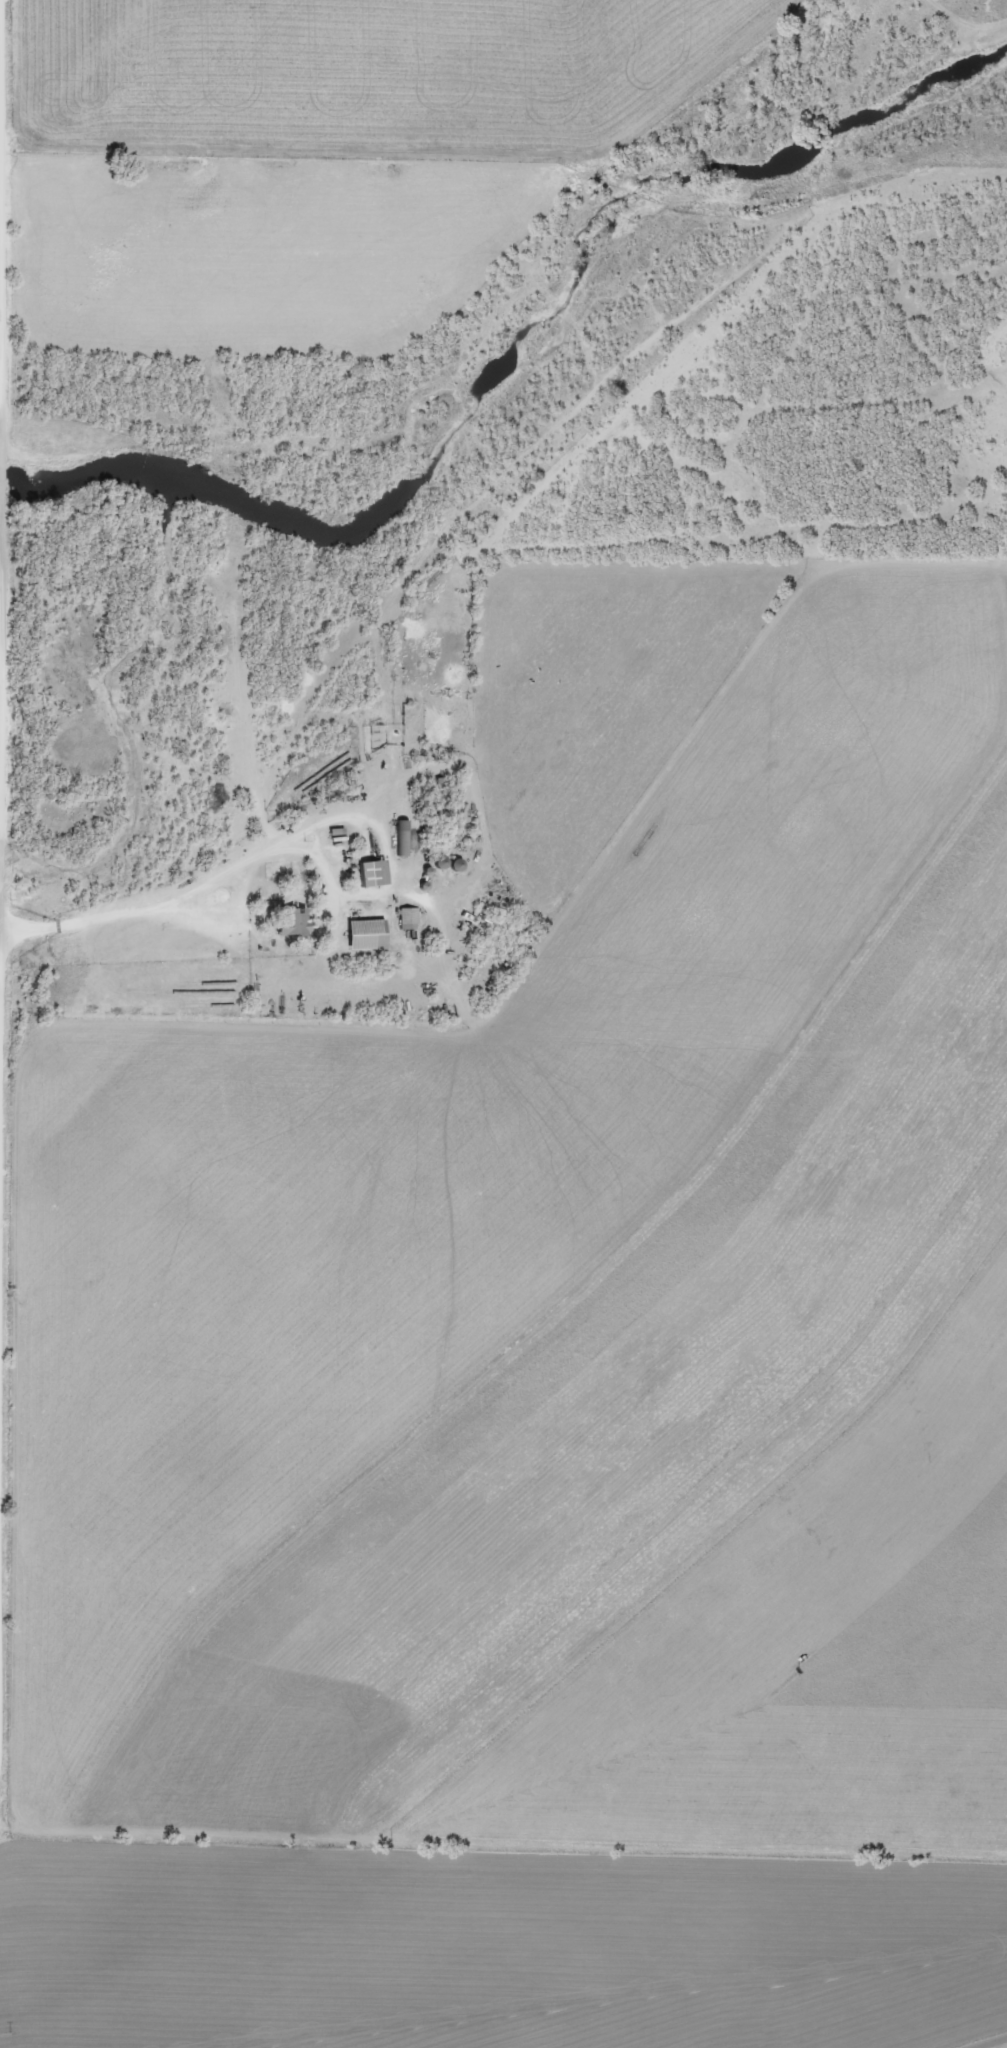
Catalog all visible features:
road: (5, 223)
road: (3, 474)
building: (405, 837)
building: (374, 873)
road: (1, 891)
building: (411, 918)
building: (297, 922)
building: (371, 934)

